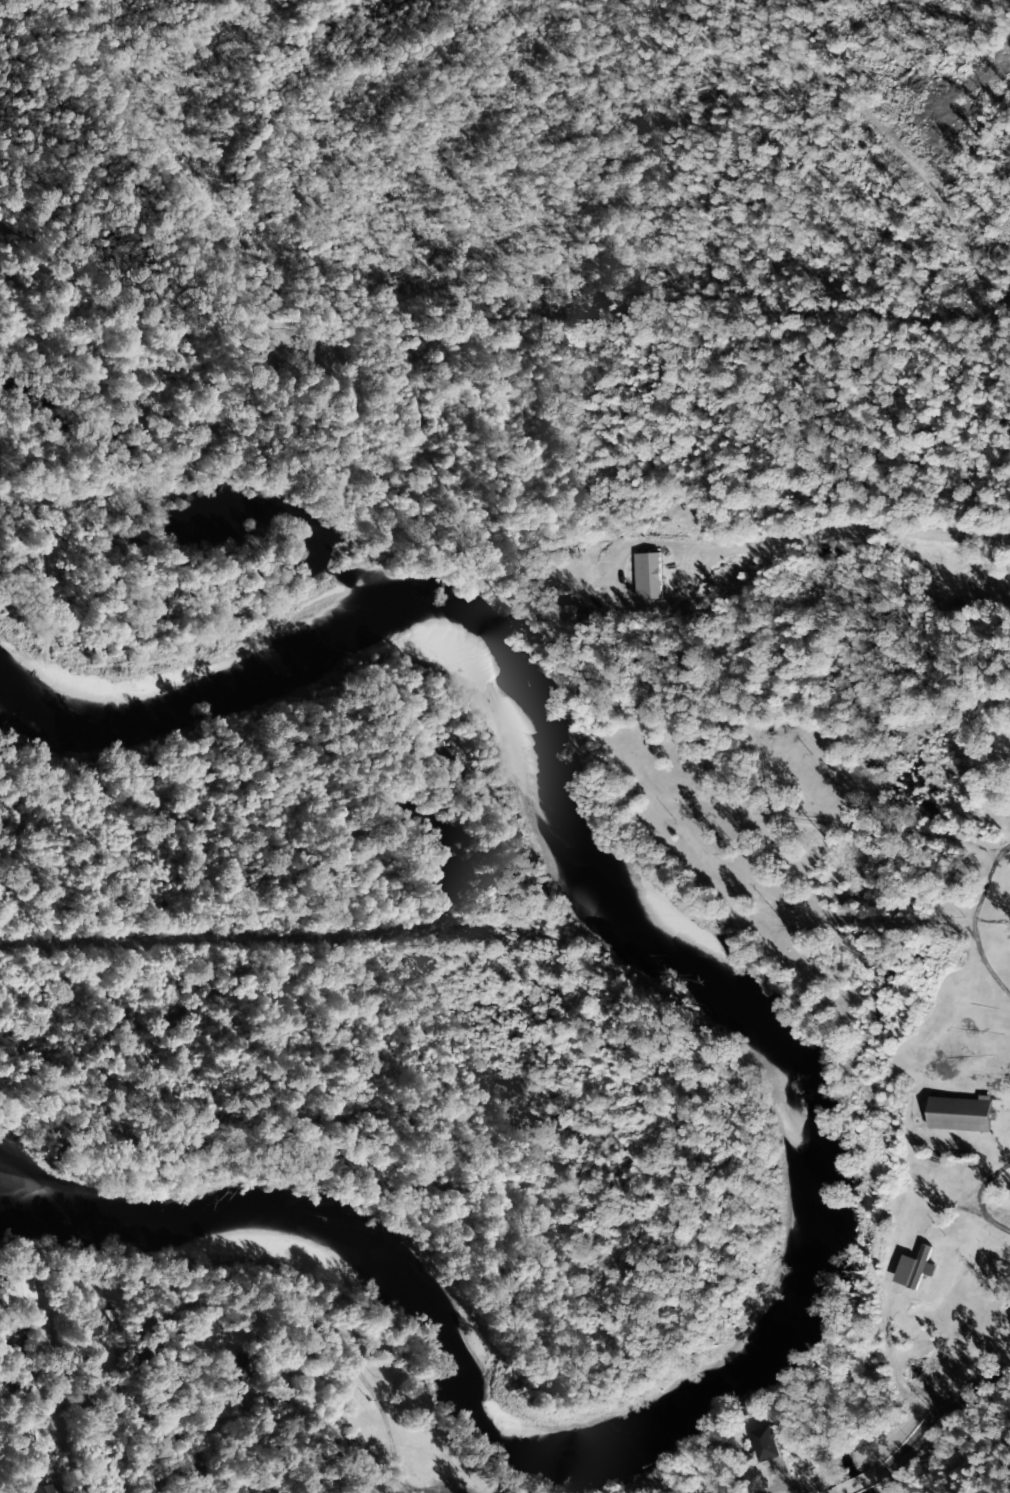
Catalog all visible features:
road: (416, 88)
road: (871, 115)
road: (814, 532)
building: (649, 576)
building: (575, 613)
building: (960, 1113)
building: (916, 1268)
building: (14, 1291)
building: (99, 1323)
building: (10, 1344)
building: (235, 1374)
building: (20, 1385)
building: (279, 1385)
road: (44, 1390)
road: (902, 1424)
building: (768, 1443)
road: (160, 1463)
road: (341, 1463)
road: (783, 1484)
building: (41, 1489)

